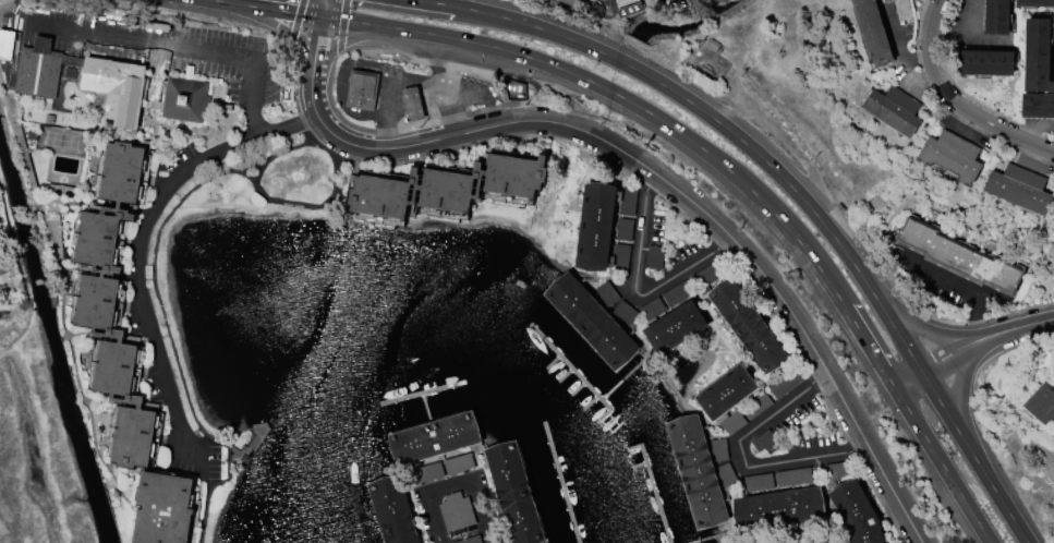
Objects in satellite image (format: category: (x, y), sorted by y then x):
road: (215, 0)
road: (436, 2)
building: (1035, 2)
road: (615, 3)
parking lot: (611, 5)
road: (269, 9)
road: (323, 9)
building: (997, 16)
traffic signals: (320, 17)
road: (376, 26)
building: (873, 32)
road: (317, 39)
road: (171, 47)
building: (1039, 55)
road: (434, 59)
building: (986, 62)
road: (900, 64)
road: (400, 77)
building: (112, 83)
road: (312, 88)
building: (363, 88)
gas station: (403, 94)
road: (954, 99)
building: (413, 102)
building: (1038, 104)
building: (895, 109)
road: (669, 124)
road: (730, 128)
road: (952, 130)
road: (376, 146)
building: (954, 155)
road: (259, 170)
building: (447, 186)
building: (1020, 188)
road: (307, 204)
building: (596, 220)
road: (140, 237)
road: (744, 250)
building: (960, 255)
road: (959, 286)
road: (634, 288)
road: (159, 303)
building: (592, 316)
pier: (590, 322)
building: (748, 322)
building: (675, 323)
road: (917, 324)
road: (1016, 325)
road: (947, 345)
road: (871, 346)
building: (128, 354)
road: (955, 358)
pier: (571, 365)
road: (922, 369)
road: (907, 374)
pier: (622, 375)
road: (911, 381)
building: (727, 387)
road: (957, 389)
pier: (423, 390)
building: (1042, 402)
pier: (425, 403)
pier: (433, 429)
building: (434, 433)
building: (782, 437)
parking lot: (782, 437)
road: (979, 458)
road: (743, 460)
road: (944, 464)
building: (696, 467)
pier: (689, 471)
pier: (558, 482)
road: (453, 485)
building: (513, 491)
pier: (655, 493)
building: (778, 505)
pier: (387, 507)
building: (393, 508)
building: (456, 509)
building: (858, 510)
pier: (705, 535)
building: (469, 540)

